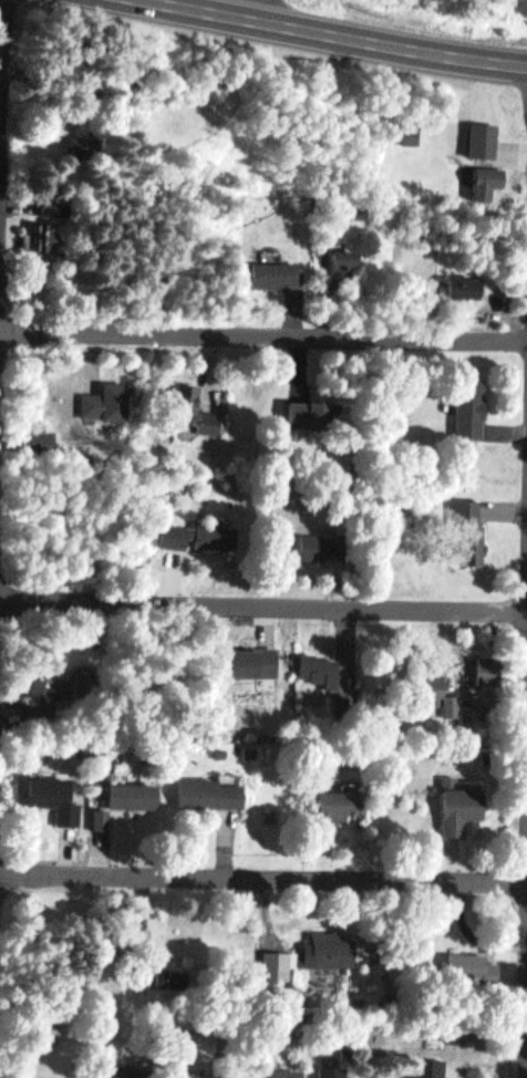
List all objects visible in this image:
road: (261, 9)
road: (342, 35)
road: (2, 90)
building: (413, 131)
building: (484, 136)
road: (3, 145)
building: (92, 148)
building: (488, 178)
building: (48, 225)
building: (343, 260)
building: (273, 271)
building: (462, 281)
road: (263, 334)
building: (108, 398)
building: (471, 405)
building: (195, 410)
building: (311, 411)
building: (44, 439)
building: (199, 532)
building: (474, 532)
building: (319, 543)
road: (262, 601)
building: (254, 660)
building: (321, 666)
building: (492, 666)
building: (432, 685)
building: (42, 691)
building: (347, 699)
building: (455, 704)
building: (250, 749)
building: (220, 750)
building: (209, 791)
building: (132, 792)
building: (53, 797)
building: (338, 800)
building: (459, 802)
building: (101, 816)
road: (262, 875)
building: (144, 937)
building: (331, 950)
building: (277, 968)
building: (170, 975)
building: (50, 1026)
building: (348, 1050)
building: (435, 1068)
building: (333, 1070)
building: (123, 1071)
building: (278, 1071)
building: (189, 1077)

